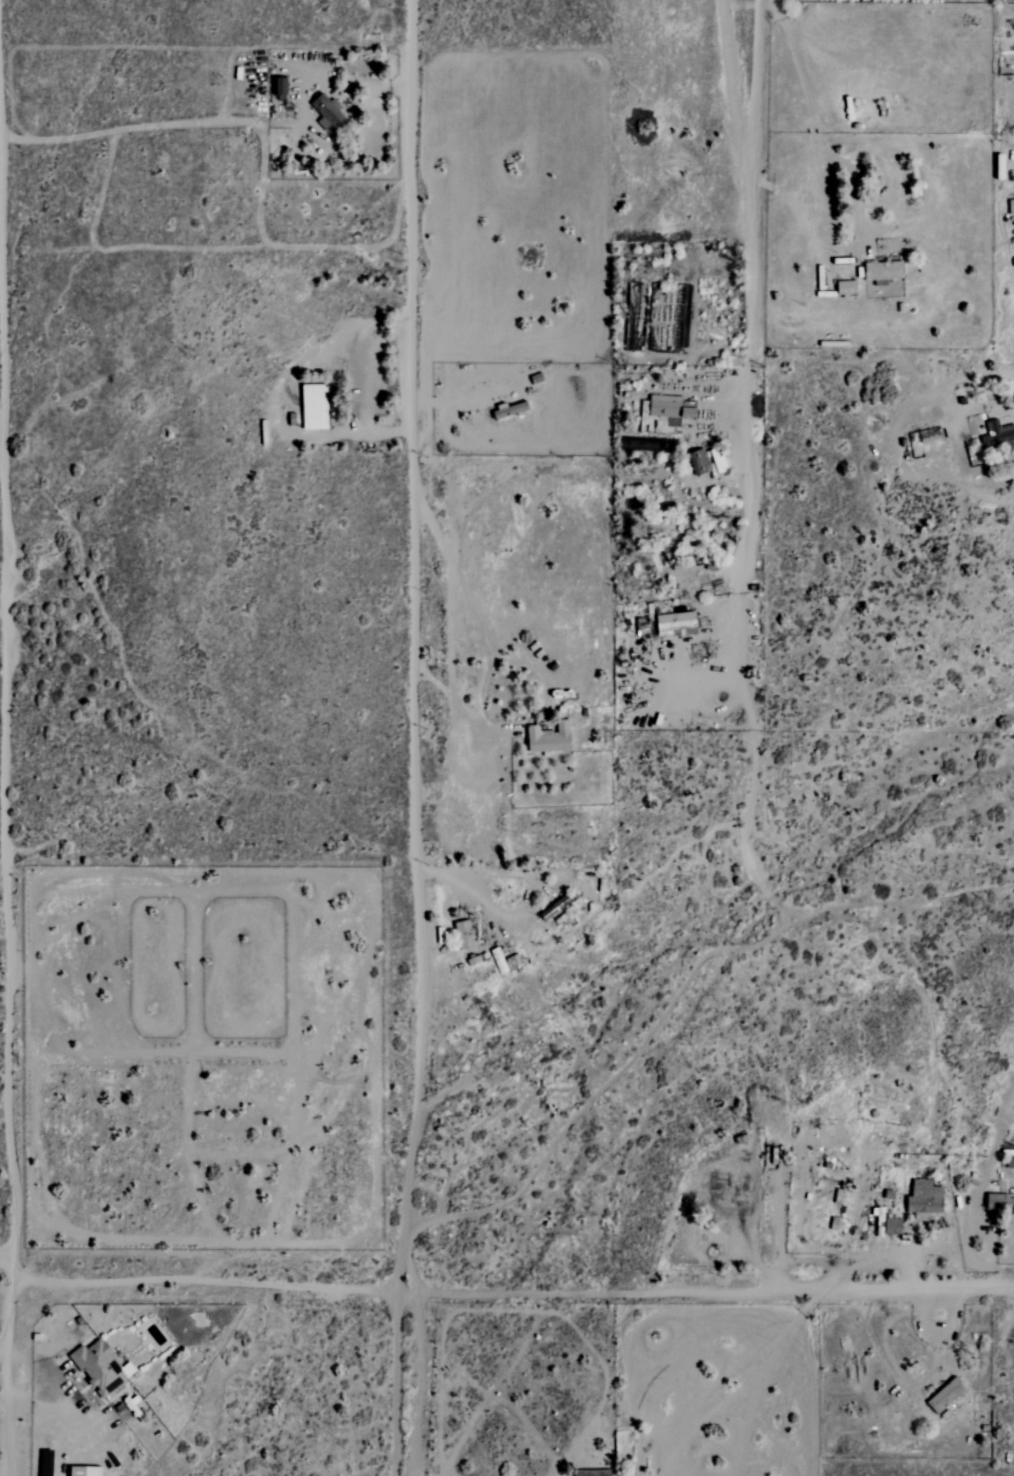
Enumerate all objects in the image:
road: (728, 70)
building: (281, 86)
building: (328, 113)
road: (852, 175)
road: (750, 180)
building: (1011, 205)
building: (883, 272)
building: (847, 287)
road: (460, 395)
building: (315, 407)
building: (670, 409)
building: (509, 410)
building: (996, 433)
building: (699, 462)
road: (746, 475)
building: (676, 624)
road: (415, 738)
building: (549, 738)
road: (5, 779)
road: (511, 916)
building: (464, 935)
building: (506, 963)
building: (924, 1198)
building: (727, 1200)
building: (996, 1203)
building: (1011, 1206)
building: (893, 1226)
road: (871, 1257)
road: (504, 1291)
road: (885, 1327)
road: (4, 1341)
building: (102, 1367)
road: (420, 1385)
building: (946, 1395)
building: (85, 1471)
building: (593, 1473)

